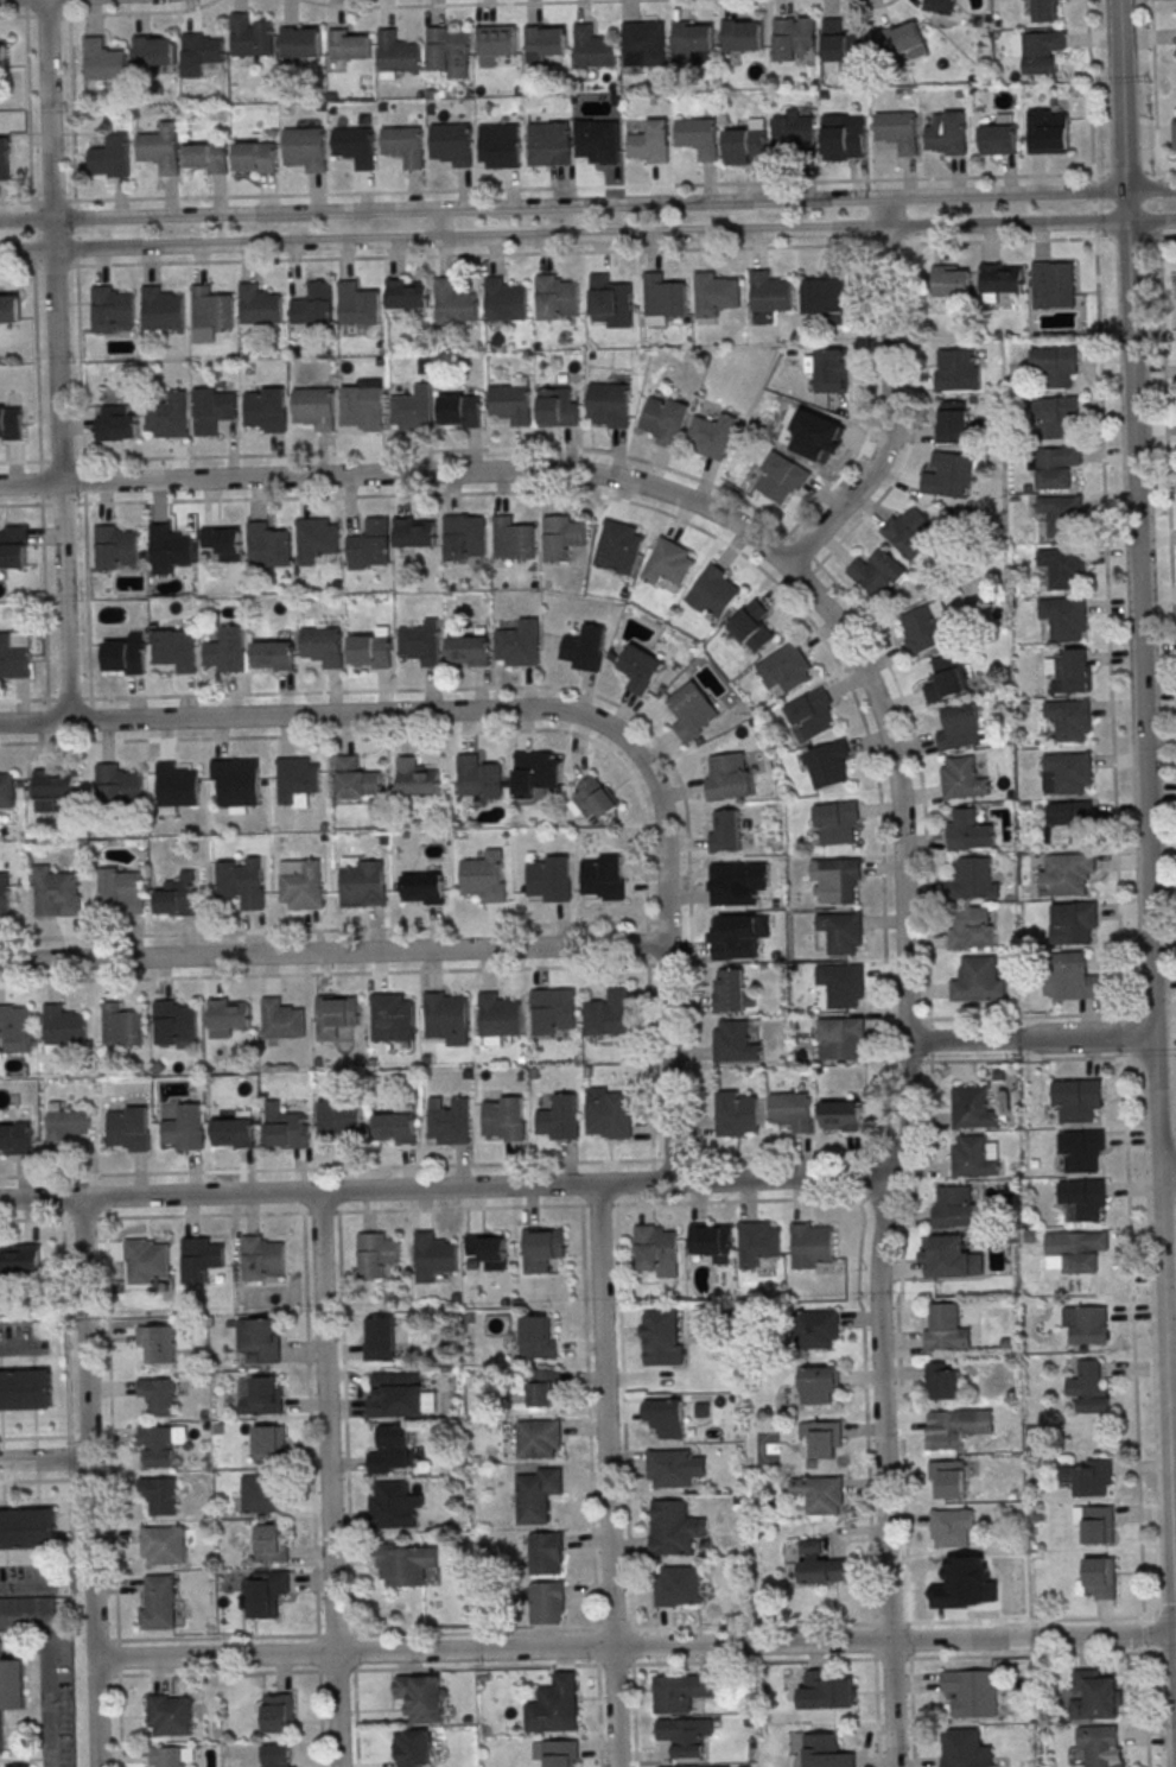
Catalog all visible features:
road: (453, 4)
road: (870, 4)
building: (940, 6)
building: (1044, 11)
building: (742, 34)
building: (249, 36)
building: (793, 37)
building: (693, 40)
building: (903, 40)
building: (300, 43)
building: (496, 43)
building: (350, 44)
building: (546, 44)
building: (644, 44)
building: (840, 44)
building: (592, 46)
building: (153, 50)
building: (1038, 50)
building: (447, 51)
building: (199, 52)
building: (2, 53)
building: (396, 53)
building: (102, 59)
road: (1153, 89)
road: (1089, 90)
road: (1120, 95)
road: (70, 109)
building: (897, 129)
building: (794, 131)
building: (1048, 131)
building: (945, 133)
building: (1174, 134)
building: (698, 135)
building: (998, 135)
building: (843, 137)
building: (597, 140)
building: (548, 142)
building: (649, 142)
building: (451, 144)
building: (354, 145)
building: (403, 145)
building: (500, 145)
building: (745, 146)
building: (160, 147)
building: (305, 147)
building: (206, 156)
building: (256, 156)
building: (109, 157)
building: (5, 158)
road: (1159, 171)
road: (1125, 172)
road: (586, 186)
road: (1157, 189)
road: (1093, 191)
road: (1150, 191)
road: (1004, 194)
road: (18, 201)
road: (52, 201)
road: (1158, 204)
road: (1094, 205)
road: (1124, 205)
road: (441, 208)
road: (72, 217)
road: (1150, 220)
road: (1158, 220)
road: (1094, 221)
road: (439, 223)
road: (1004, 223)
road: (74, 233)
road: (1163, 236)
road: (441, 237)
road: (1129, 237)
road: (1101, 239)
road: (75, 248)
road: (581, 252)
road: (75, 262)
road: (53, 265)
road: (19, 266)
building: (1002, 278)
building: (949, 284)
building: (1053, 284)
building: (769, 292)
building: (825, 293)
building: (406, 294)
building: (714, 296)
building: (554, 297)
building: (662, 298)
building: (608, 299)
building: (504, 300)
building: (453, 302)
building: (357, 304)
building: (259, 305)
building: (313, 305)
building: (8, 308)
building: (160, 308)
building: (211, 308)
building: (110, 310)
road: (55, 360)
building: (1055, 365)
building: (831, 369)
building: (956, 369)
road: (888, 400)
building: (509, 403)
building: (609, 403)
building: (362, 405)
building: (558, 406)
building: (265, 407)
building: (313, 407)
building: (211, 408)
building: (412, 408)
building: (459, 411)
building: (166, 417)
building: (1056, 417)
building: (663, 419)
building: (115, 422)
building: (951, 422)
building: (9, 423)
building: (814, 433)
building: (711, 435)
road: (271, 454)
building: (1055, 465)
road: (1167, 469)
road: (405, 474)
building: (780, 476)
building: (948, 476)
road: (81, 481)
road: (38, 482)
building: (1062, 514)
building: (909, 531)
building: (414, 532)
road: (707, 533)
building: (562, 537)
building: (464, 538)
building: (513, 538)
building: (316, 539)
building: (222, 543)
building: (368, 544)
building: (616, 544)
building: (13, 546)
building: (115, 546)
building: (266, 547)
building: (167, 549)
building: (666, 562)
building: (1062, 566)
building: (877, 572)
building: (712, 590)
building: (1064, 617)
road: (1108, 623)
building: (751, 627)
building: (927, 627)
building: (420, 641)
building: (517, 644)
building: (323, 645)
building: (583, 647)
building: (174, 648)
building: (225, 650)
building: (371, 650)
building: (468, 651)
building: (14, 653)
building: (126, 654)
building: (272, 654)
building: (786, 667)
building: (641, 669)
building: (1073, 670)
building: (946, 678)
road: (274, 692)
road: (542, 709)
building: (692, 711)
building: (811, 712)
building: (1069, 718)
building: (960, 728)
road: (272, 735)
building: (828, 765)
building: (534, 772)
building: (1070, 772)
building: (725, 775)
building: (417, 777)
building: (477, 778)
building: (961, 778)
building: (356, 779)
building: (295, 780)
building: (235, 783)
building: (115, 785)
building: (176, 785)
building: (52, 788)
building: (7, 790)
building: (591, 798)
building: (1068, 822)
building: (835, 823)
building: (724, 830)
road: (644, 845)
building: (1066, 874)
building: (484, 876)
building: (603, 878)
building: (549, 879)
building: (839, 879)
building: (973, 879)
building: (242, 882)
building: (363, 882)
road: (688, 883)
building: (300, 886)
building: (729, 886)
building: (122, 888)
building: (421, 889)
building: (56, 893)
building: (177, 895)
building: (5, 899)
building: (1074, 921)
building: (972, 927)
building: (840, 931)
building: (737, 936)
road: (647, 943)
road: (335, 951)
road: (1149, 952)
building: (1069, 977)
building: (977, 980)
building: (841, 984)
building: (730, 992)
road: (928, 1001)
building: (551, 1012)
building: (608, 1013)
building: (336, 1014)
building: (390, 1014)
building: (444, 1014)
building: (498, 1015)
road: (1025, 1015)
building: (227, 1016)
building: (281, 1020)
building: (174, 1022)
building: (64, 1025)
building: (121, 1026)
building: (15, 1027)
road: (1123, 1034)
road: (1029, 1037)
building: (840, 1039)
building: (733, 1041)
road: (1026, 1059)
road: (650, 1062)
building: (1079, 1100)
building: (973, 1108)
building: (608, 1113)
building: (790, 1113)
building: (736, 1114)
building: (840, 1115)
building: (504, 1119)
building: (560, 1119)
building: (341, 1121)
building: (451, 1122)
building: (63, 1127)
building: (185, 1128)
building: (396, 1128)
building: (129, 1129)
building: (288, 1130)
building: (235, 1133)
building: (17, 1138)
road: (1134, 1148)
road: (1159, 1148)
building: (1082, 1149)
road: (900, 1152)
building: (973, 1157)
road: (421, 1165)
road: (1167, 1170)
road: (445, 1186)
building: (1083, 1198)
road: (422, 1208)
building: (954, 1208)
building: (708, 1241)
building: (758, 1241)
building: (812, 1244)
building: (541, 1248)
building: (1076, 1249)
building: (487, 1250)
building: (656, 1250)
building: (376, 1254)
building: (432, 1256)
building: (201, 1258)
building: (19, 1259)
building: (262, 1259)
building: (953, 1259)
building: (147, 1261)
road: (1169, 1303)
building: (1085, 1324)
road: (63, 1326)
building: (946, 1328)
building: (816, 1330)
building: (535, 1337)
building: (662, 1337)
road: (1132, 1337)
building: (261, 1338)
building: (380, 1338)
building: (160, 1343)
road: (19, 1347)
building: (942, 1381)
building: (820, 1385)
building: (543, 1387)
building: (1091, 1388)
building: (25, 1389)
building: (261, 1395)
building: (398, 1395)
building: (160, 1396)
road: (1170, 1401)
building: (665, 1417)
building: (955, 1427)
building: (539, 1437)
building: (824, 1439)
building: (269, 1443)
building: (159, 1445)
building: (390, 1451)
road: (44, 1458)
road: (68, 1458)
building: (669, 1468)
road: (605, 1475)
road: (869, 1477)
road: (330, 1478)
building: (1093, 1478)
building: (947, 1480)
road: (90, 1481)
road: (590, 1486)
road: (312, 1489)
road: (348, 1489)
road: (112, 1491)
building: (263, 1494)
building: (538, 1494)
building: (818, 1494)
building: (161, 1495)
building: (393, 1506)
road: (1172, 1509)
building: (1094, 1522)
building: (673, 1527)
building: (952, 1527)
building: (28, 1528)
road: (70, 1537)
building: (272, 1543)
building: (165, 1545)
building: (546, 1553)
road: (1174, 1559)
building: (405, 1564)
building: (820, 1564)
building: (1100, 1578)
parking lot: (27, 1581)
building: (952, 1583)
road: (19, 1584)
building: (676, 1585)
building: (1016, 1590)
building: (265, 1592)
building: (547, 1602)
building: (159, 1603)
building: (26, 1605)
road: (635, 1628)
road: (1143, 1635)
road: (633, 1646)
road: (635, 1662)
road: (46, 1671)
building: (11, 1690)
building: (681, 1692)
building: (825, 1692)
building: (972, 1692)
building: (421, 1697)
building: (1094, 1697)
building: (554, 1705)
road: (1145, 1708)
building: (276, 1714)
building: (170, 1715)
road: (633, 1715)
building: (686, 1736)
building: (1100, 1746)
building: (412, 1748)
building: (966, 1749)
building: (827, 1752)
building: (564, 1753)
building: (167, 1756)
building: (278, 1756)

